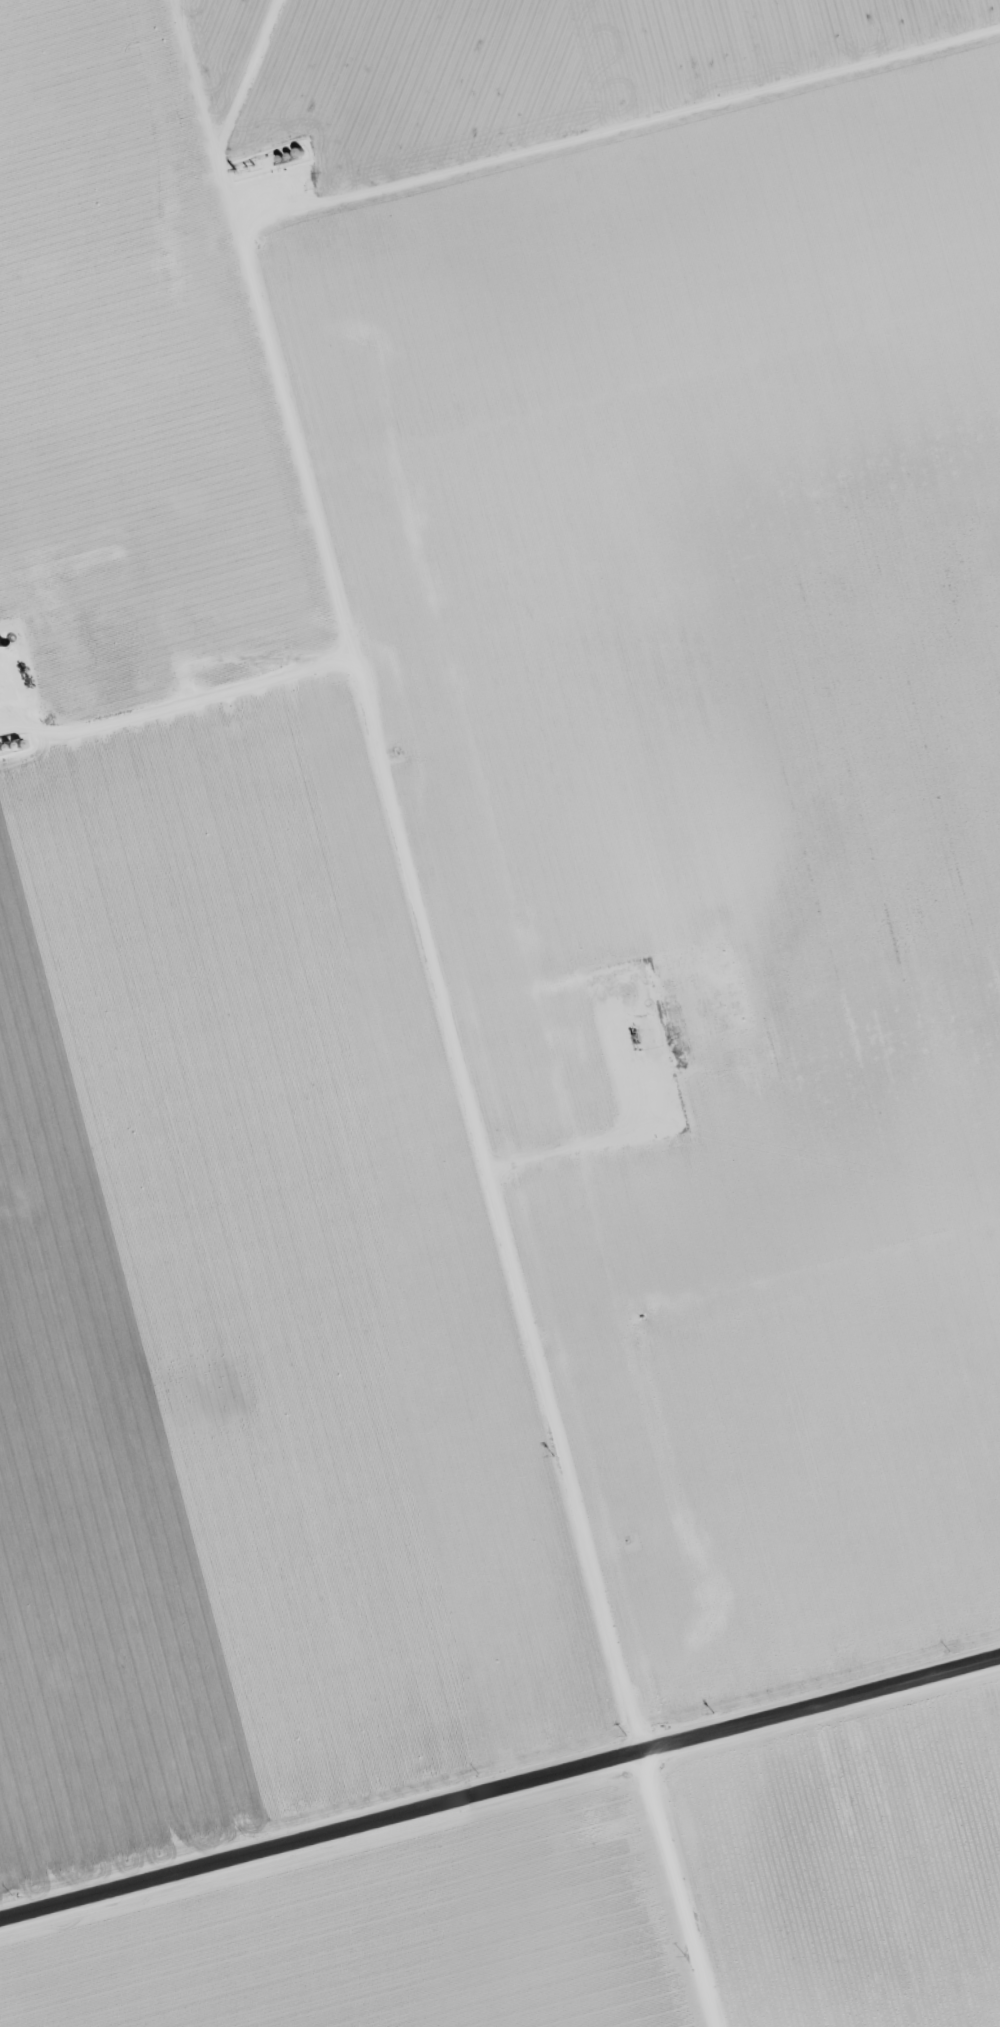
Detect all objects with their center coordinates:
road: (500, 1783)

